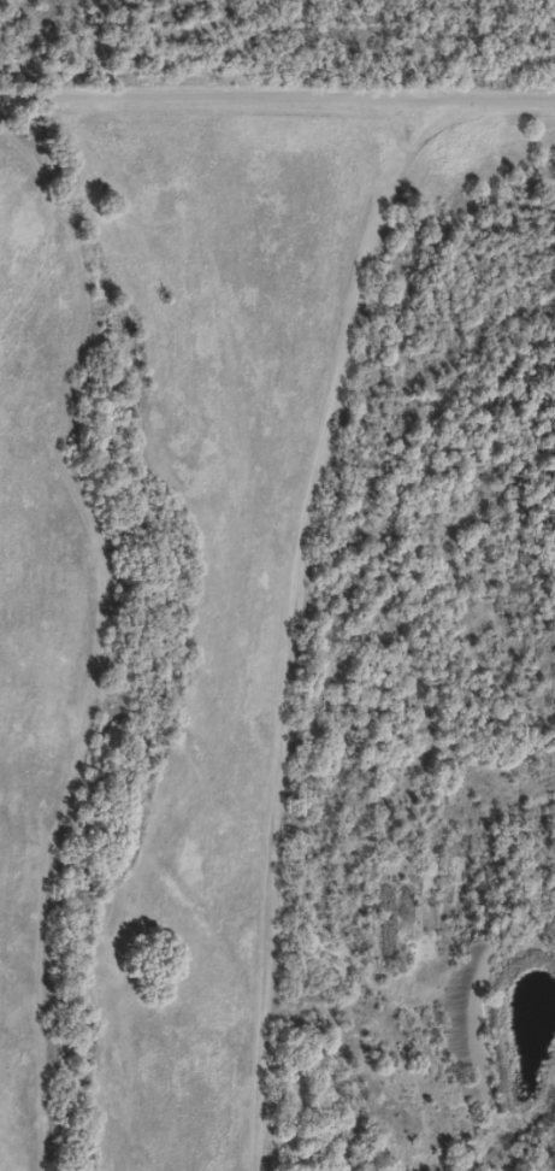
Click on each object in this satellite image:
road: (277, 125)

